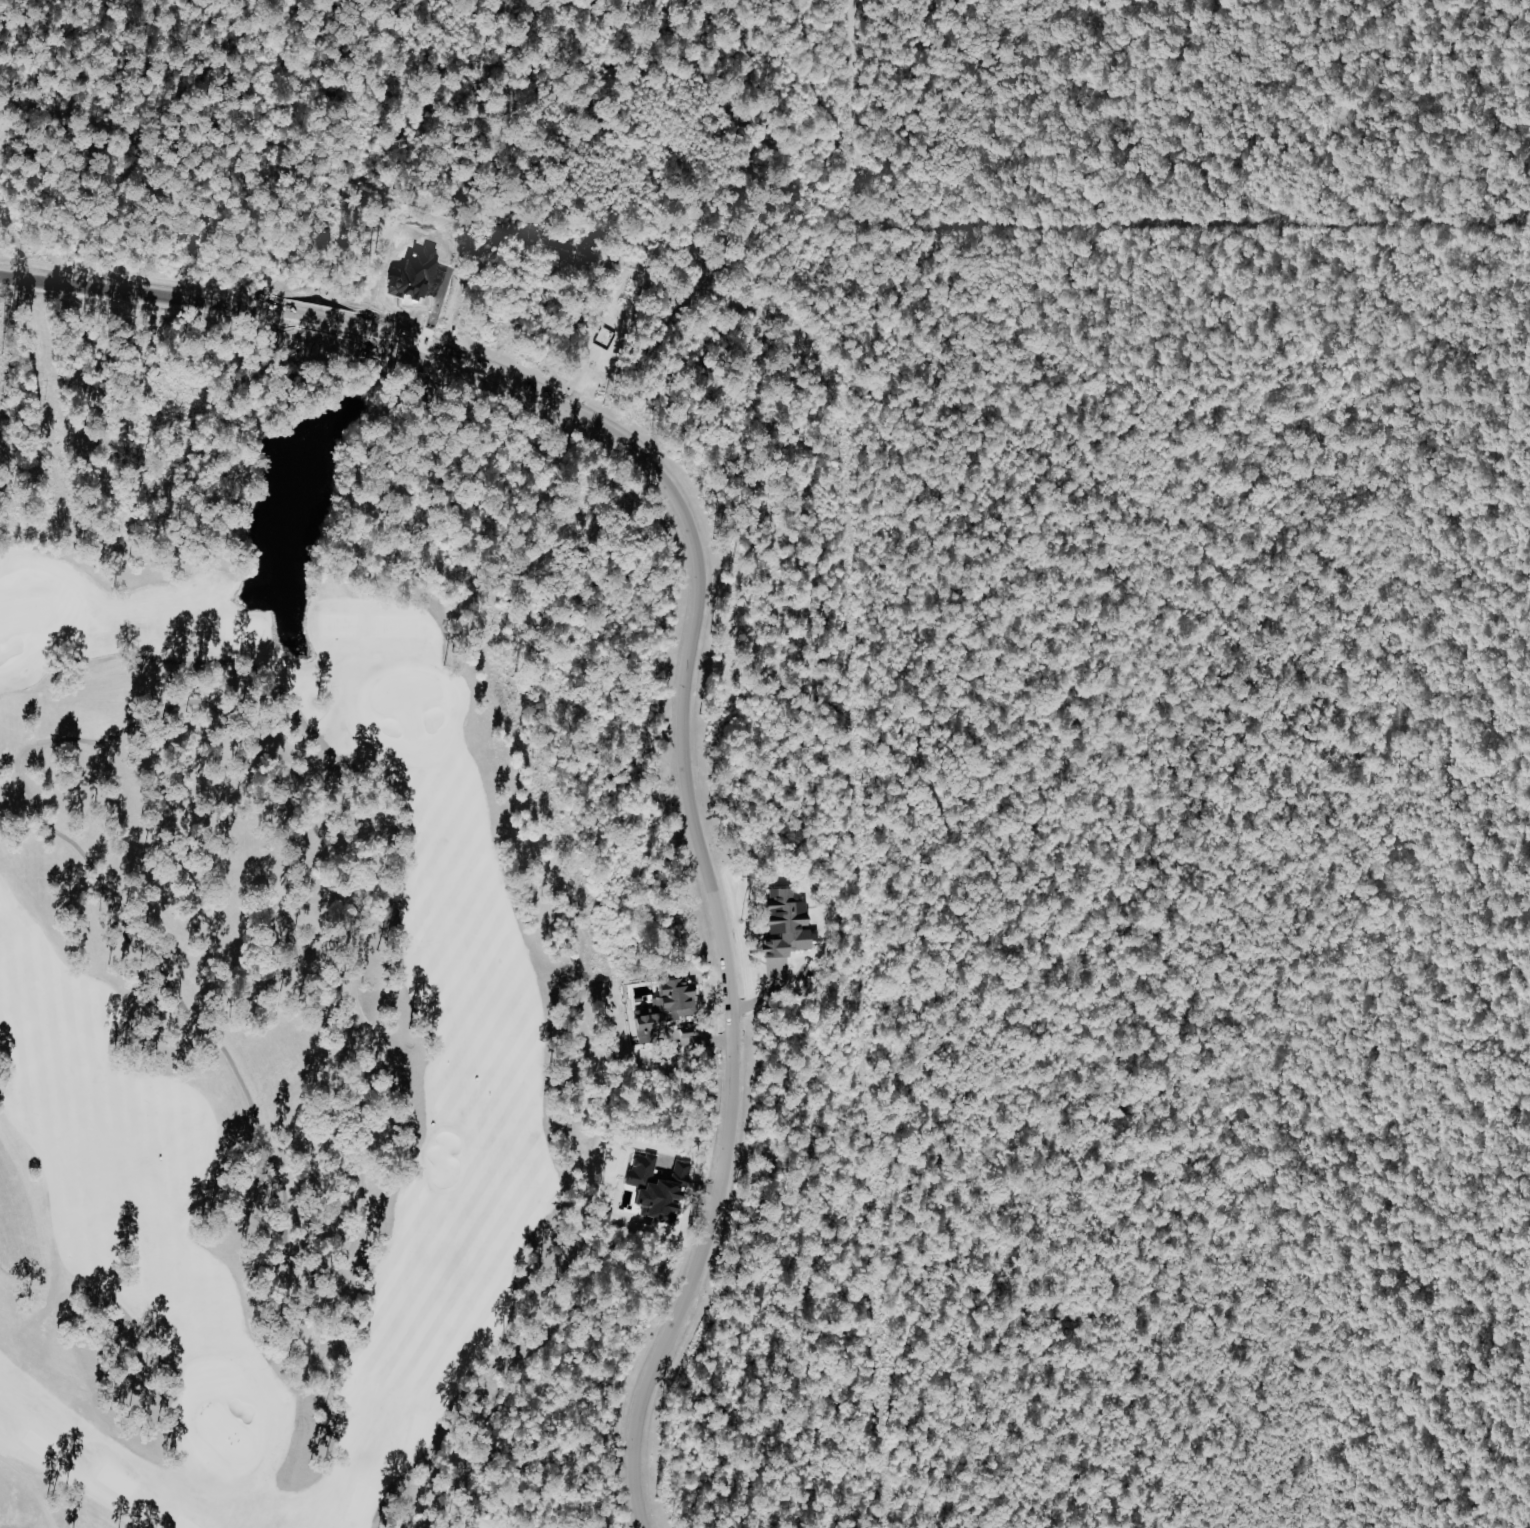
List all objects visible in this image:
road: (3, 296)
building: (606, 336)
park: (112, 539)
road: (694, 654)
building: (789, 924)
building: (668, 1008)
park: (571, 1031)
park: (149, 1040)
park: (411, 1076)
building: (660, 1188)
park: (127, 1375)
park: (409, 1502)
park: (107, 1526)

